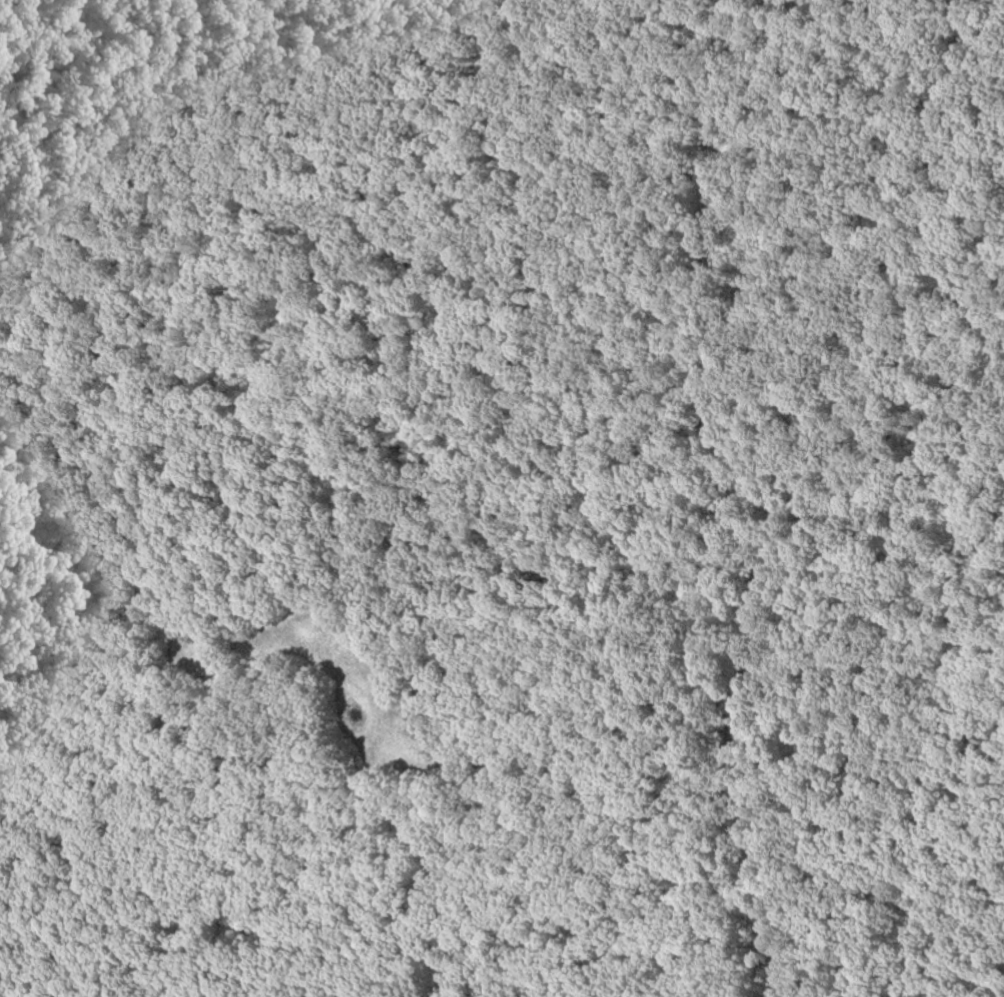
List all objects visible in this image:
road: (743, 499)

